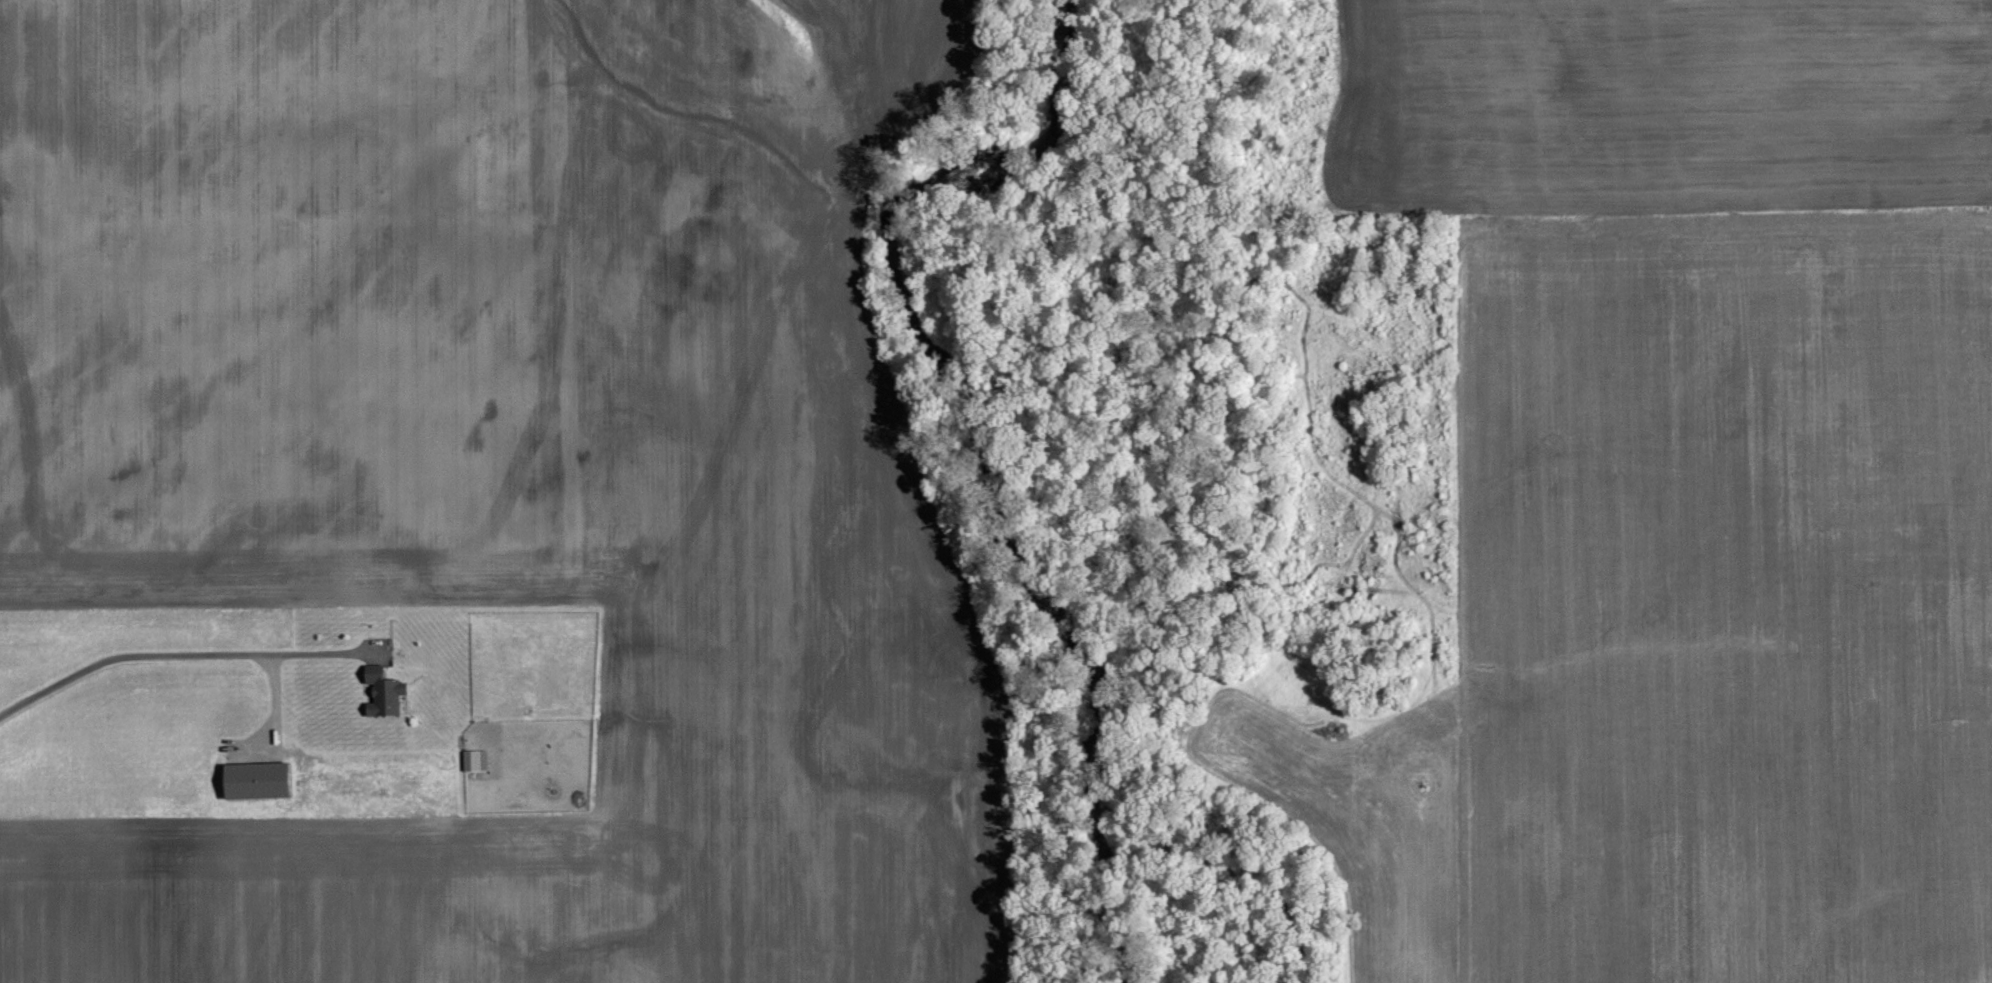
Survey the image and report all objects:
building: (384, 693)
building: (475, 761)
building: (257, 782)

